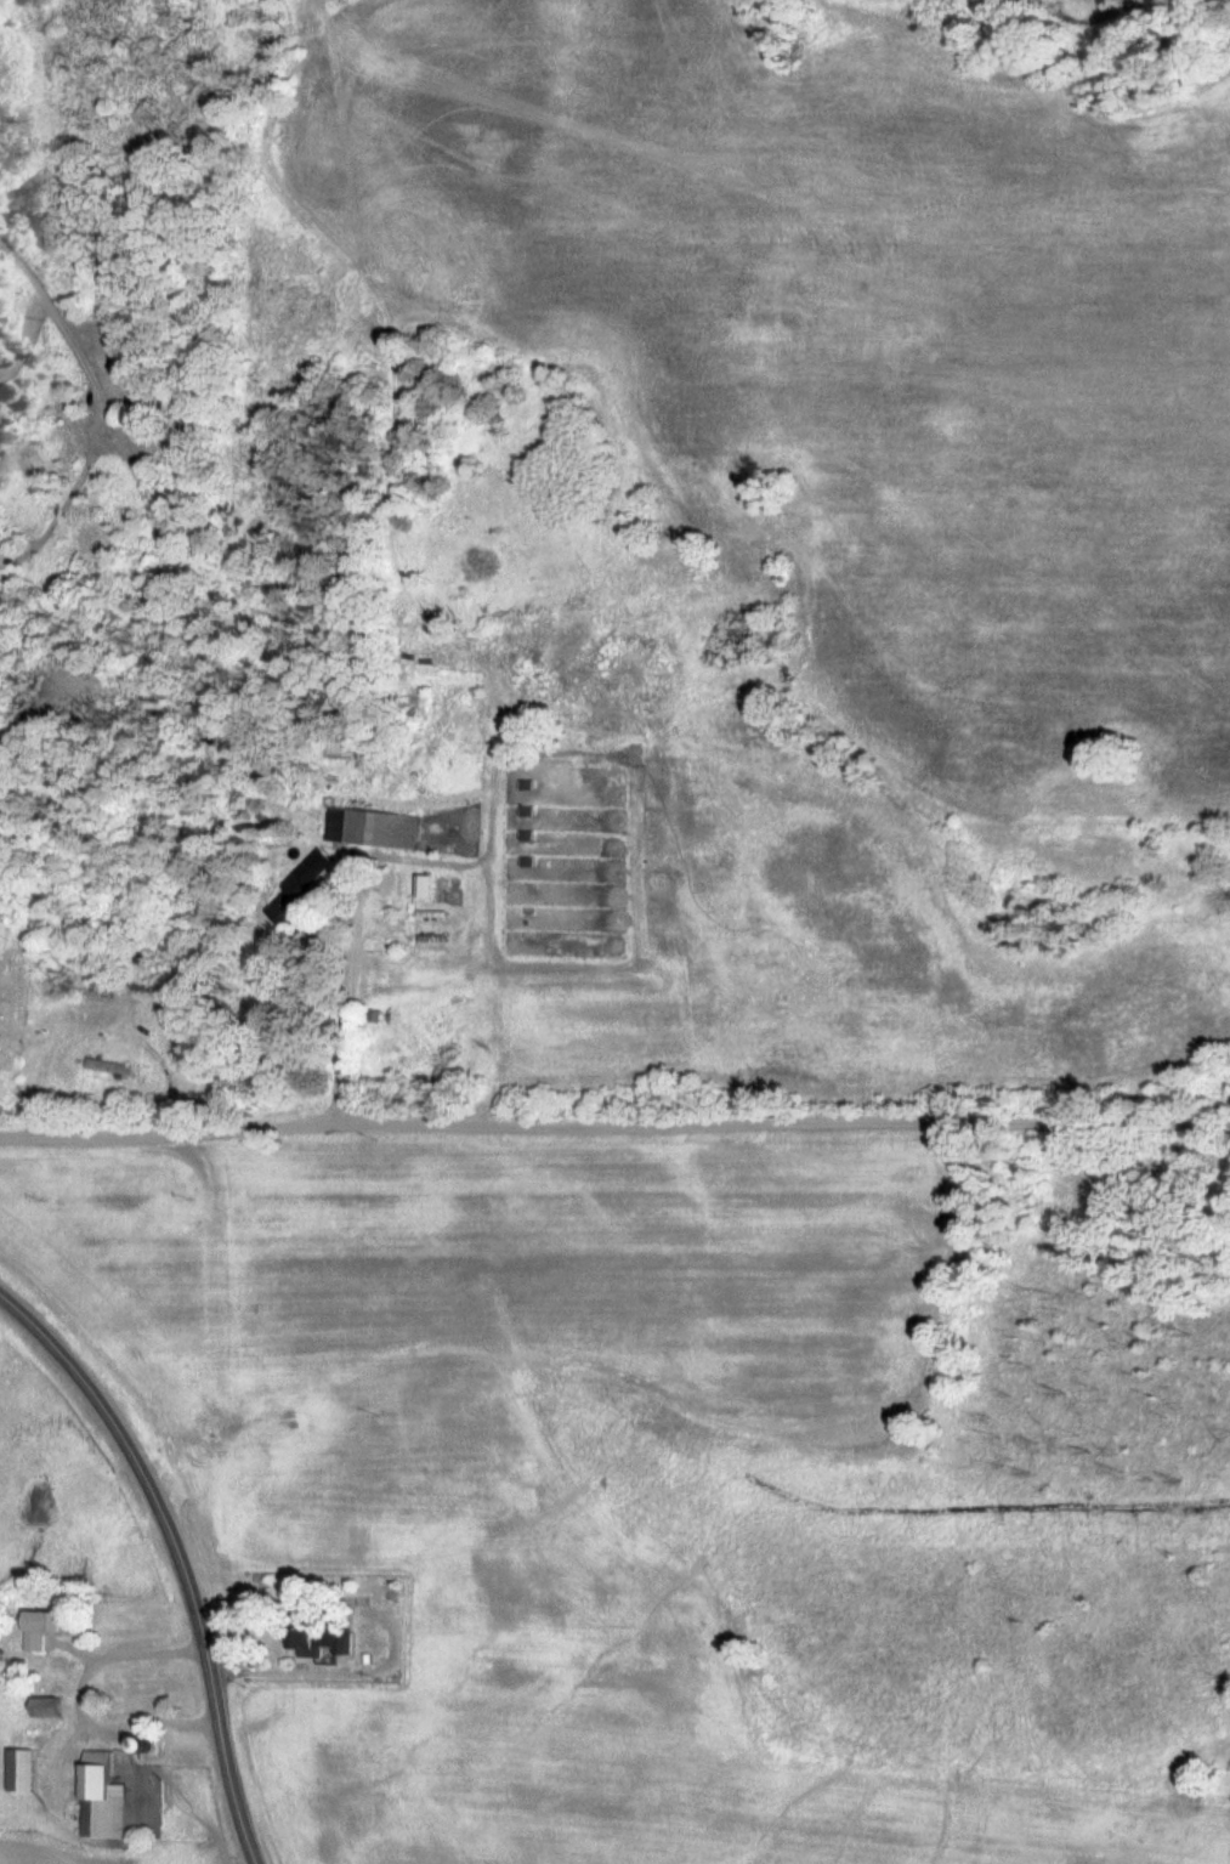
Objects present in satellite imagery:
building: (130, 379)
building: (372, 827)
building: (312, 869)
building: (424, 885)
building: (112, 1066)
road: (614, 1123)
road: (177, 1553)
building: (46, 1627)
building: (325, 1641)
building: (51, 1706)
building: (25, 1769)
building: (104, 1797)

